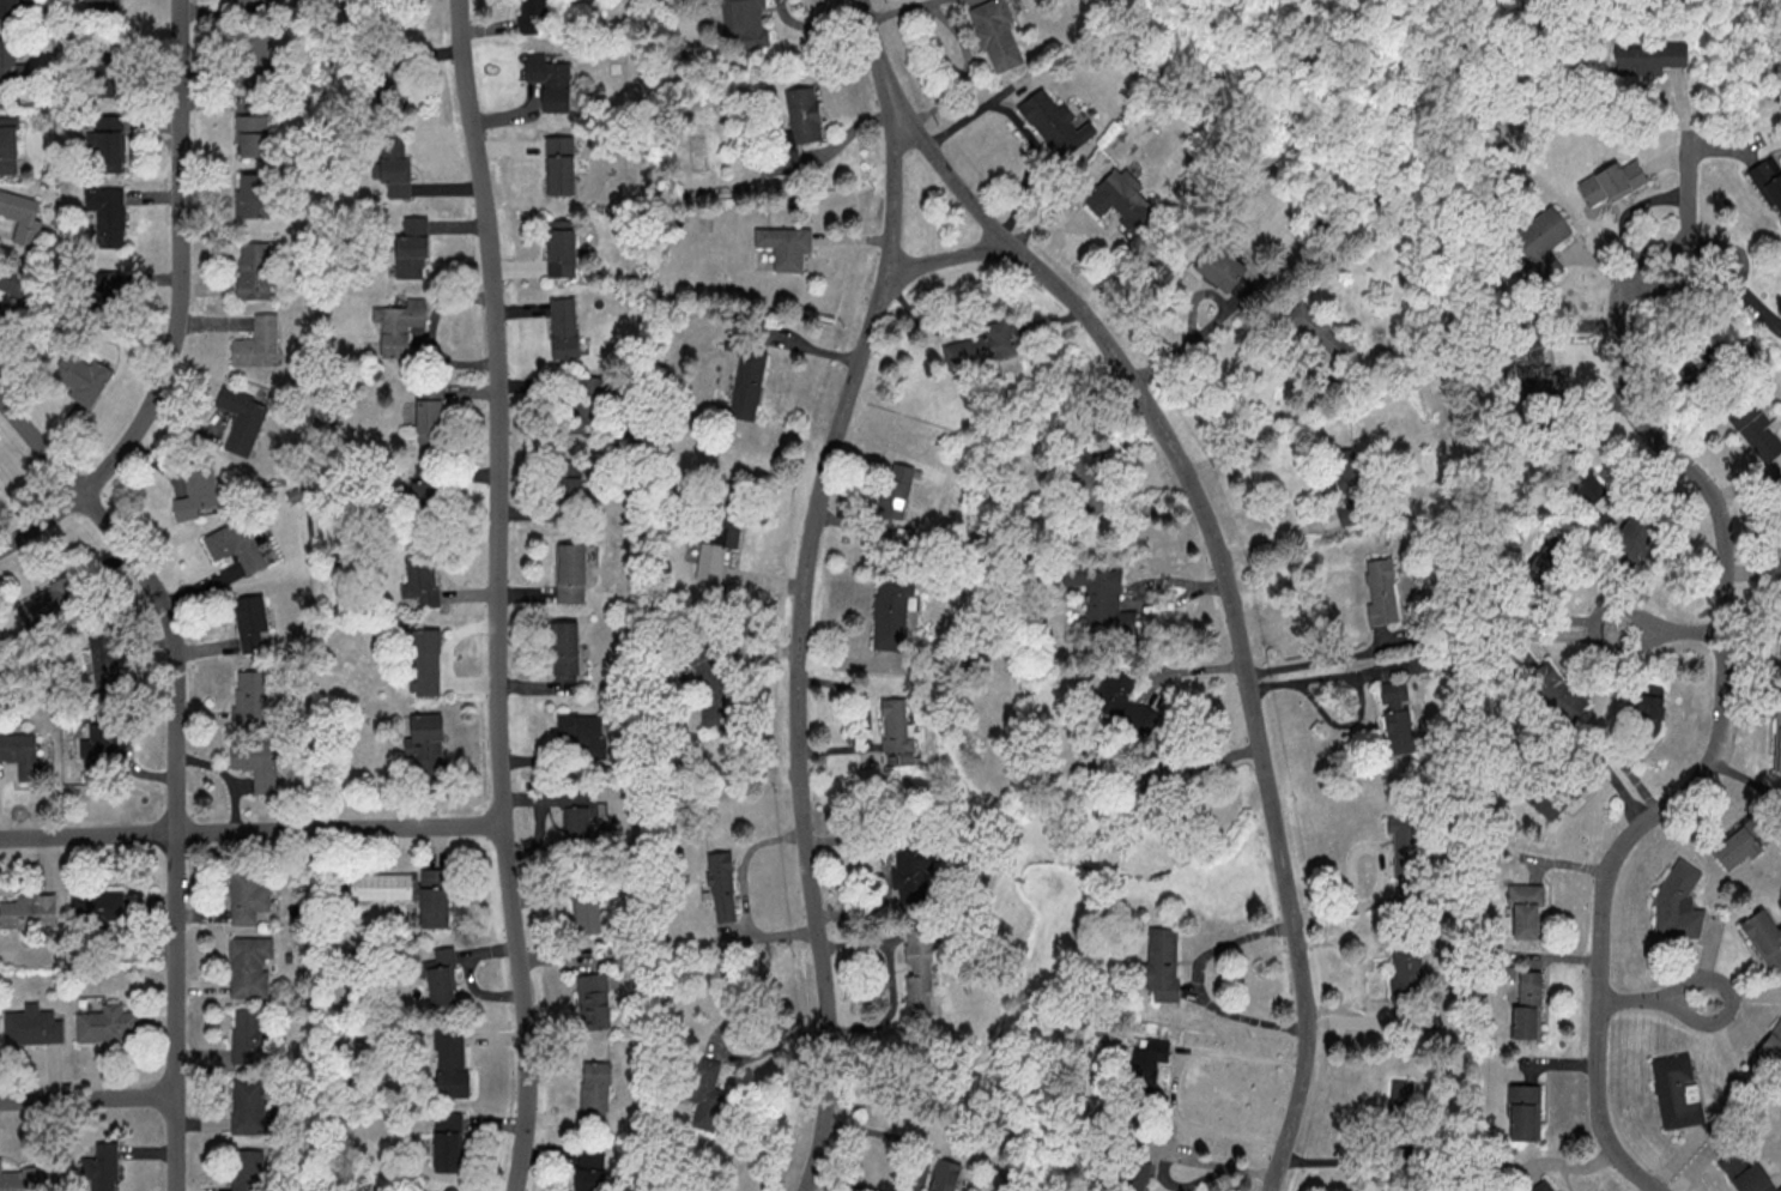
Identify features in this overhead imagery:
building: (254, 0)
building: (105, 7)
building: (8, 10)
building: (383, 10)
building: (533, 14)
building: (745, 23)
road: (963, 36)
building: (998, 37)
building: (255, 52)
building: (1648, 58)
park: (1745, 60)
building: (8, 61)
building: (109, 75)
building: (550, 80)
building: (390, 84)
building: (1055, 123)
road: (1022, 128)
building: (795, 131)
building: (254, 135)
building: (110, 143)
building: (8, 145)
building: (562, 165)
building: (395, 169)
building: (1612, 183)
building: (1769, 183)
building: (255, 194)
road: (1686, 198)
building: (1122, 199)
building: (23, 214)
building: (108, 214)
building: (1543, 234)
building: (786, 246)
building: (413, 248)
building: (563, 248)
road: (949, 258)
building: (1222, 268)
building: (255, 270)
building: (16, 284)
building: (113, 292)
road: (178, 312)
building: (565, 327)
building: (400, 328)
building: (1319, 328)
building: (259, 344)
building: (983, 346)
building: (1533, 370)
building: (78, 379)
building: (749, 382)
building: (583, 404)
building: (430, 413)
building: (243, 418)
building: (1753, 427)
road: (1266, 429)
building: (1583, 480)
building: (570, 484)
building: (1089, 485)
building: (426, 486)
building: (1351, 486)
building: (198, 491)
building: (896, 497)
building: (1780, 516)
building: (1635, 538)
building: (717, 544)
building: (237, 545)
road: (1216, 545)
building: (573, 573)
building: (423, 580)
building: (1382, 592)
road: (499, 594)
building: (1103, 598)
building: (46, 605)
building: (891, 612)
building: (252, 623)
road: (1667, 631)
road: (802, 634)
building: (568, 647)
building: (105, 660)
road: (1317, 660)
building: (425, 661)
building: (707, 666)
building: (1550, 687)
road: (1725, 690)
building: (250, 697)
building: (1123, 700)
building: (1648, 717)
building: (1398, 718)
building: (895, 726)
building: (584, 732)
building: (110, 738)
building: (426, 739)
building: (1779, 739)
building: (20, 752)
building: (256, 762)
road: (178, 763)
building: (1561, 791)
building: (578, 815)
road: (252, 832)
building: (1406, 846)
building: (1741, 846)
building: (911, 870)
road: (1382, 873)
building: (382, 885)
building: (722, 887)
building: (248, 896)
building: (435, 897)
road: (745, 897)
building: (1680, 902)
building: (98, 908)
building: (1527, 911)
building: (29, 912)
building: (588, 914)
building: (1765, 938)
building: (1162, 963)
building: (250, 967)
building: (1407, 969)
building: (920, 973)
building: (442, 975)
road: (1653, 998)
building: (594, 1000)
building: (1528, 1004)
building: (109, 1024)
building: (34, 1027)
building: (249, 1035)
building: (452, 1062)
building: (1146, 1066)
road: (1176, 1078)
building: (708, 1089)
building: (596, 1090)
building: (1677, 1090)
road: (89, 1099)
building: (249, 1106)
building: (1525, 1112)
road: (897, 1136)
building: (448, 1142)
building: (102, 1167)
building: (249, 1169)
building: (590, 1171)
building: (1746, 1172)
building: (946, 1175)
building: (1137, 1175)
building: (22, 1179)
road: (844, 1181)
building: (1547, 1185)

